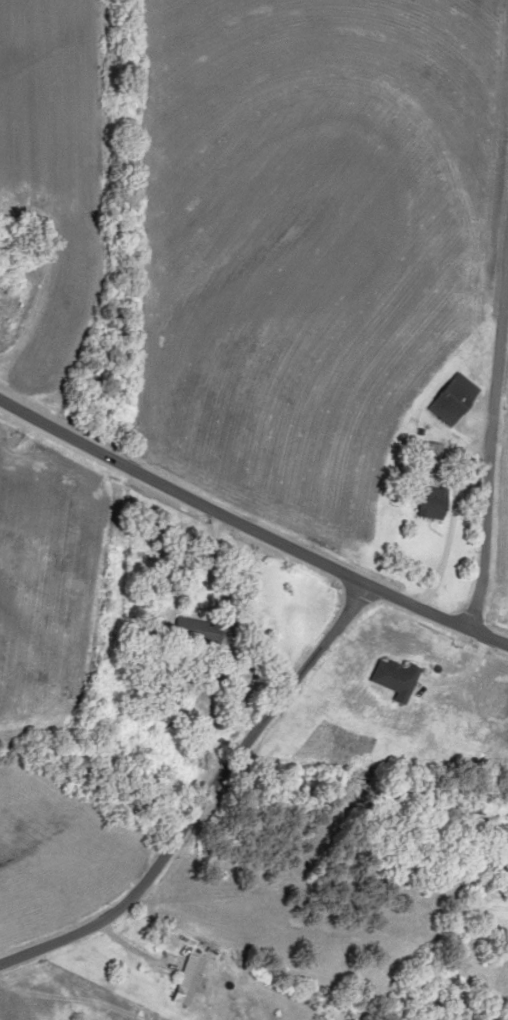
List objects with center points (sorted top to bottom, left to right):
building: (449, 398)
building: (426, 447)
road: (491, 481)
building: (425, 497)
road: (254, 538)
building: (192, 629)
building: (391, 678)
road: (203, 816)
building: (184, 979)

